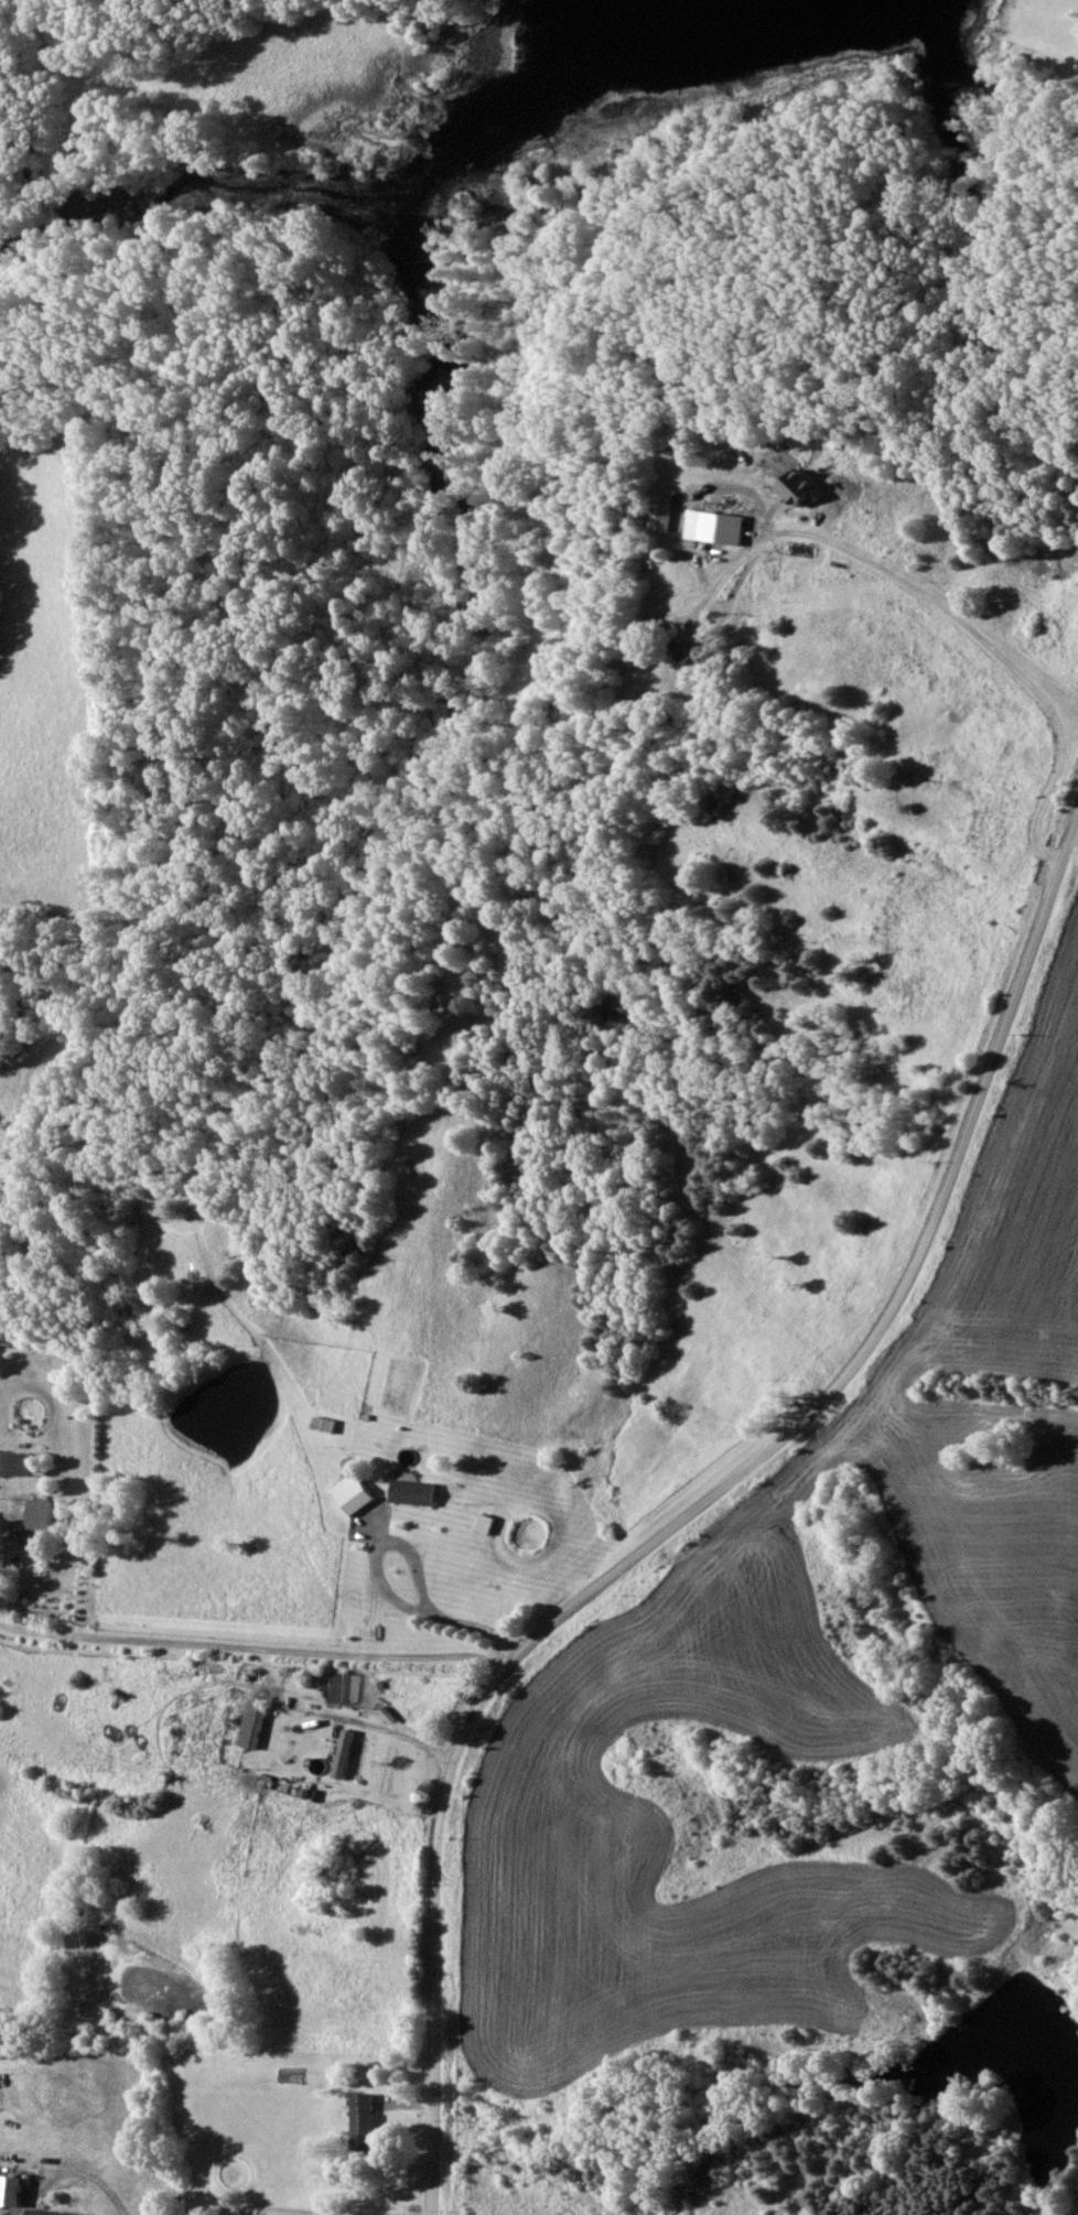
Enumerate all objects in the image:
building: (725, 528)
road: (947, 609)
building: (689, 655)
building: (420, 1493)
building: (362, 1494)
road: (701, 1514)
building: (47, 1519)
building: (493, 1524)
road: (454, 1625)
road: (371, 1649)
road: (260, 1650)
road: (190, 1714)
building: (258, 1727)
building: (370, 2124)
road: (77, 2173)
road: (271, 2211)
building: (48, 2213)

